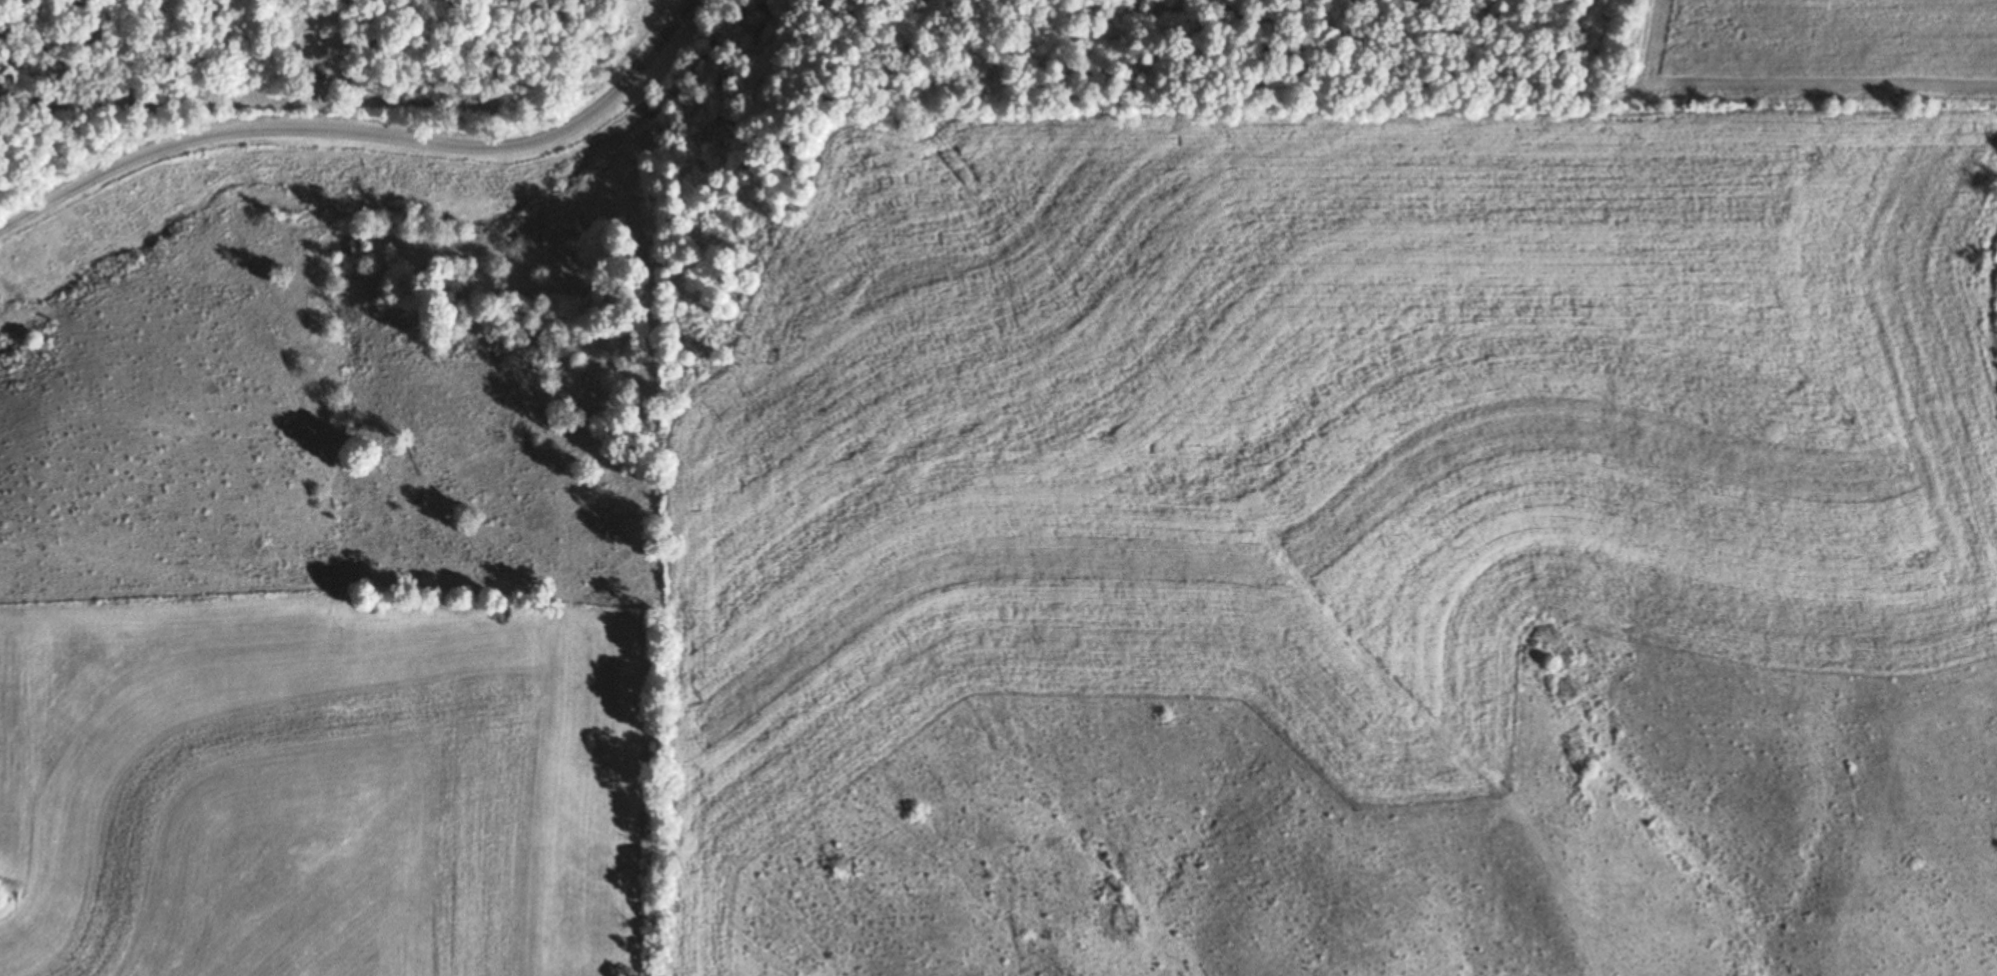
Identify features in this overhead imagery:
crop: (669, 4)
crop: (1818, 48)
road: (367, 135)
crop: (328, 794)

